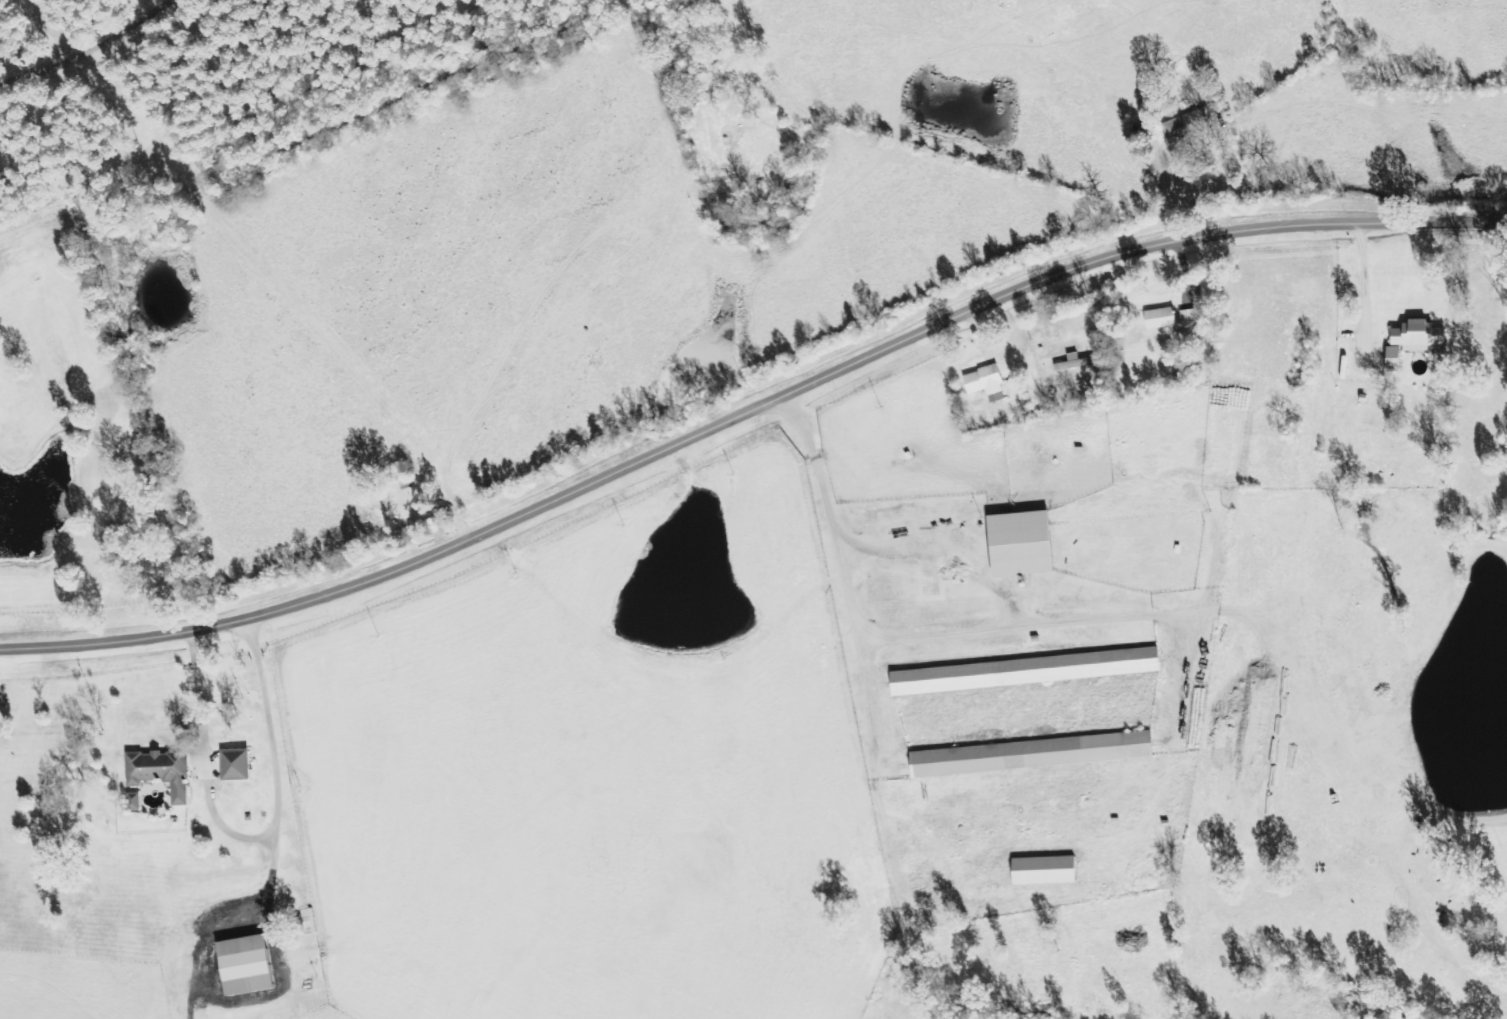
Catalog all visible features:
building: (1190, 123)
road: (1440, 231)
building: (1191, 314)
building: (1164, 317)
building: (1422, 335)
building: (1398, 358)
building: (989, 382)
road: (689, 439)
building: (1025, 543)
building: (1025, 671)
building: (239, 764)
building: (164, 771)
building: (1048, 870)
building: (249, 964)

